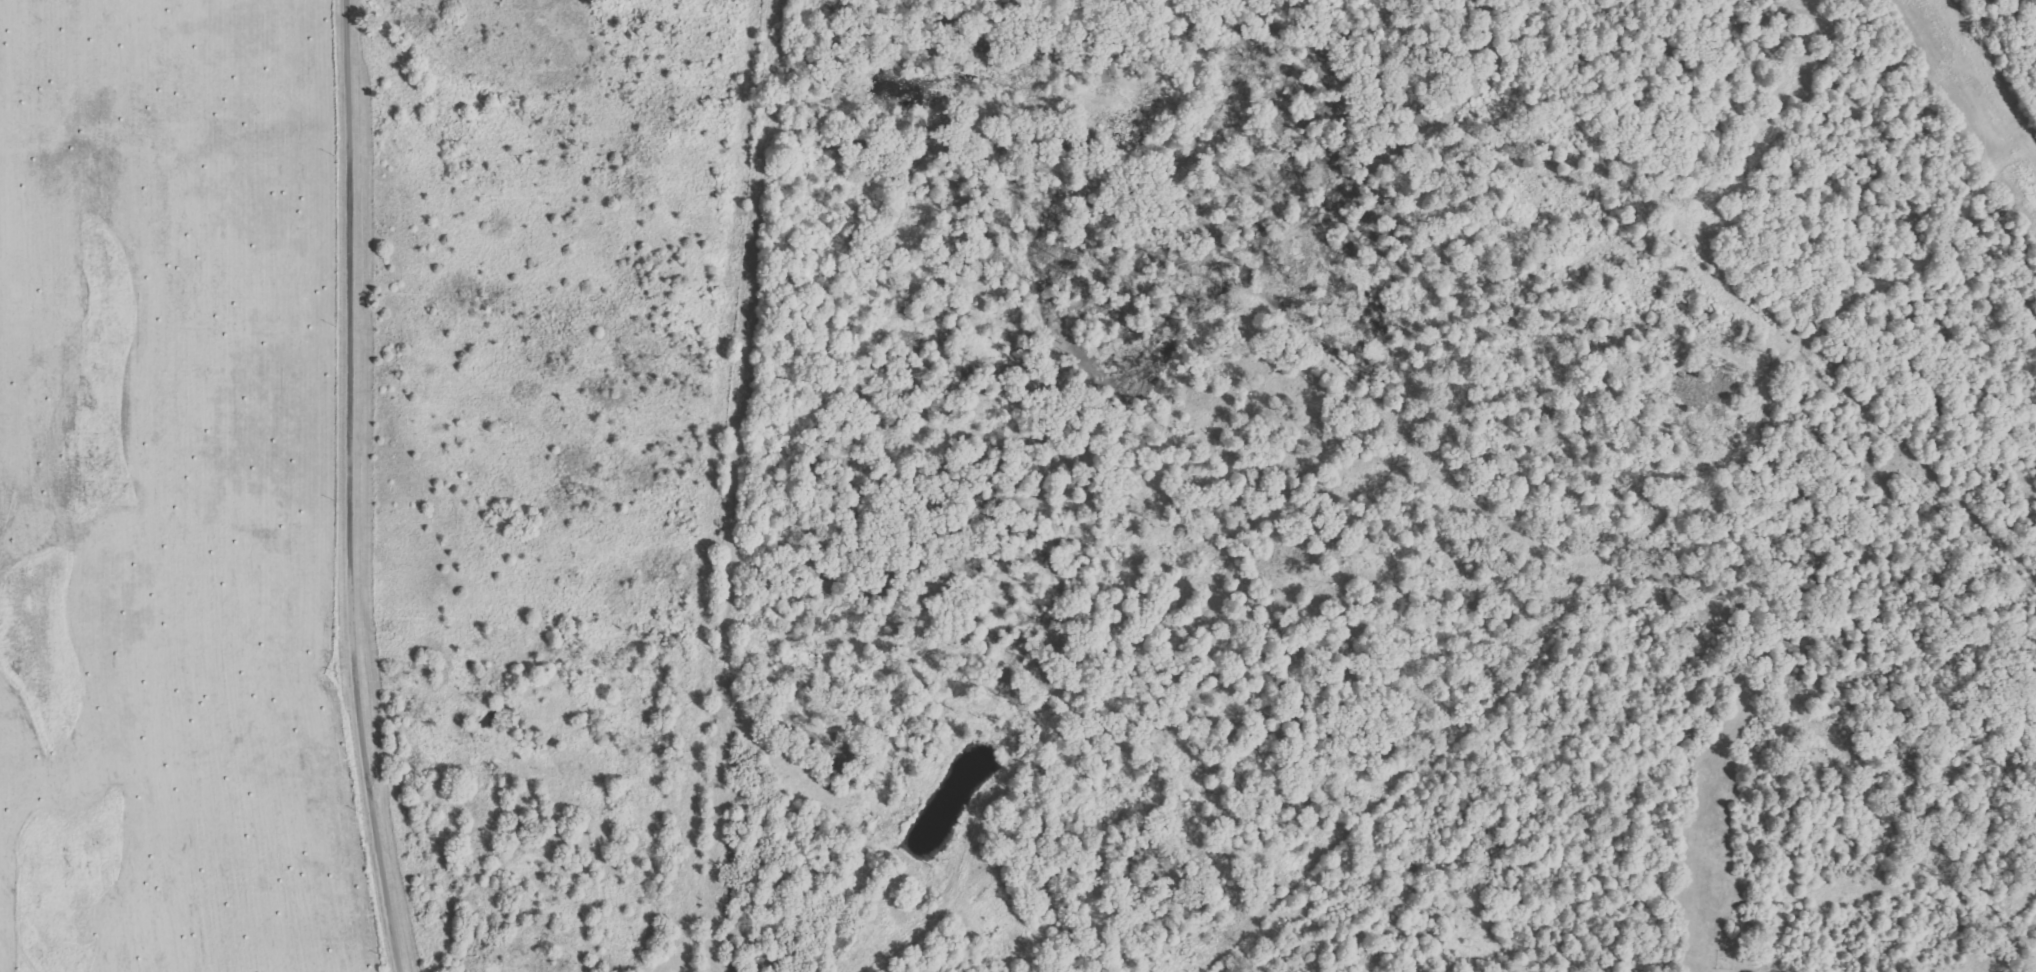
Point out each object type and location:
road: (348, 487)

